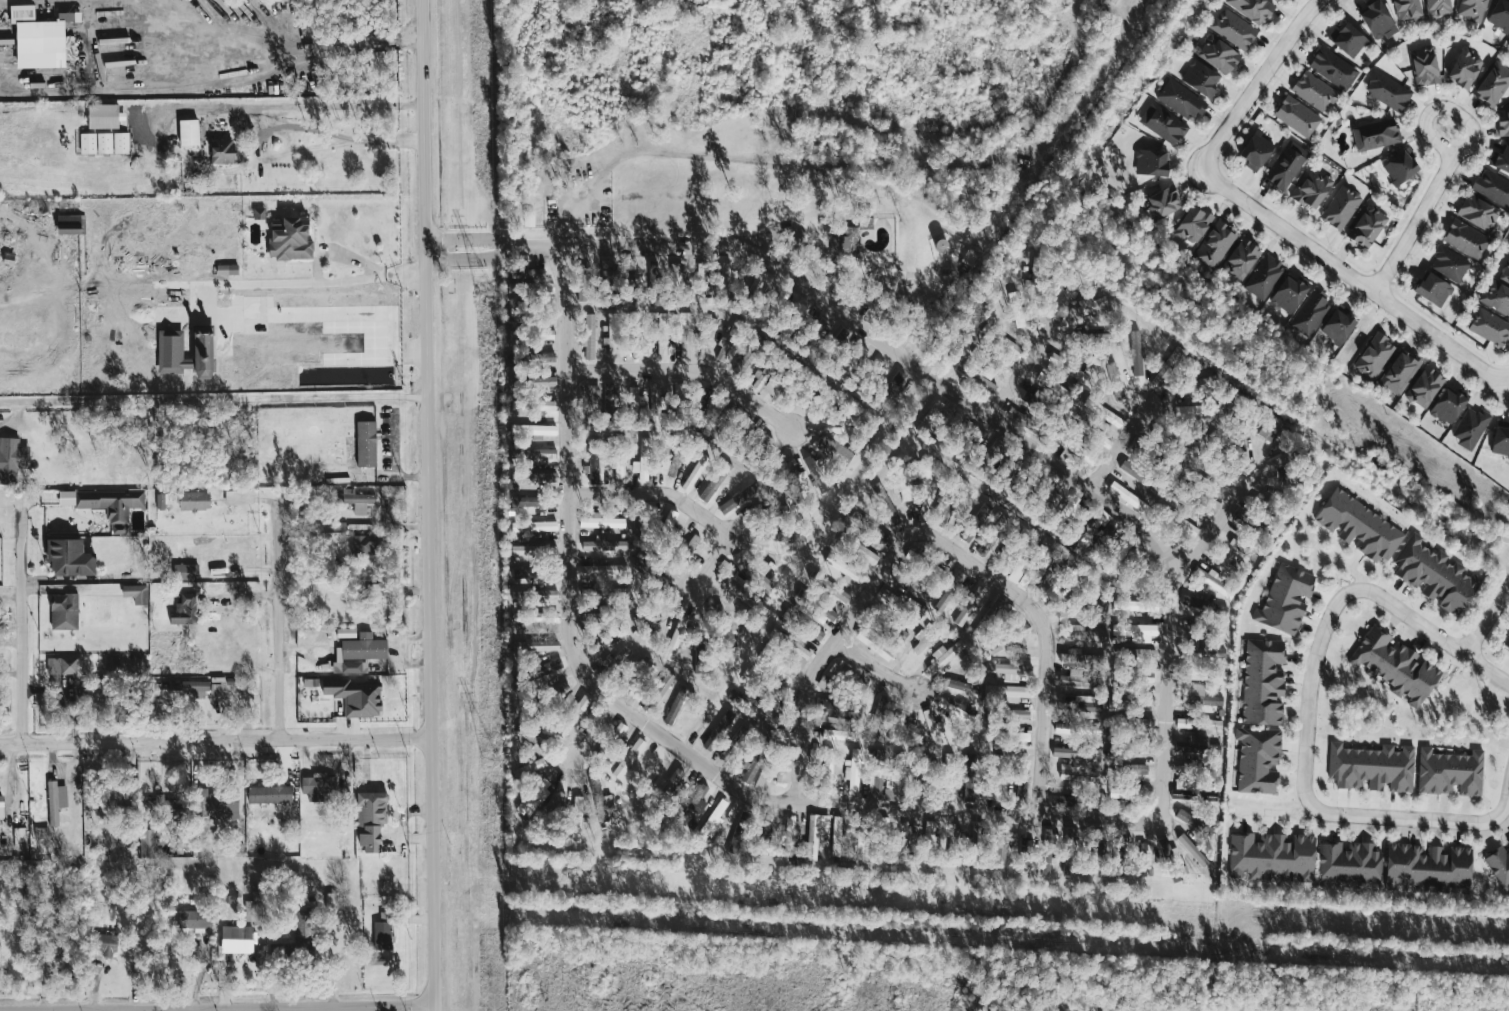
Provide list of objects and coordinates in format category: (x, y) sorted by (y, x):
building: (1276, 0)
building: (1438, 8)
building: (1253, 9)
building: (1472, 9)
building: (1407, 10)
building: (1500, 15)
building: (1377, 20)
building: (1233, 28)
building: (38, 39)
building: (1347, 39)
building: (1508, 43)
building: (1218, 54)
building: (1424, 65)
building: (1464, 67)
building: (1333, 68)
building: (1201, 78)
road: (1259, 81)
building: (1492, 84)
building: (1314, 91)
building: (1387, 91)
building: (1180, 100)
building: (103, 116)
building: (1297, 116)
building: (1163, 123)
building: (1503, 123)
road: (279, 127)
building: (189, 132)
building: (1376, 134)
building: (104, 142)
building: (1256, 150)
building: (222, 151)
road: (1452, 160)
building: (1502, 160)
building: (1151, 162)
building: (1286, 165)
building: (1401, 166)
building: (1492, 187)
building: (1312, 189)
road: (577, 202)
building: (1161, 202)
building: (1341, 207)
building: (258, 212)
building: (1478, 212)
building: (866, 223)
building: (69, 224)
building: (1193, 224)
road: (788, 226)
building: (1367, 226)
road: (469, 237)
building: (290, 239)
building: (1466, 239)
building: (846, 242)
building: (1214, 244)
building: (1508, 247)
building: (1241, 258)
road: (469, 259)
building: (1449, 263)
road: (377, 268)
building: (607, 268)
building: (227, 269)
building: (676, 270)
building: (528, 272)
building: (653, 273)
building: (1505, 273)
building: (1264, 276)
building: (725, 278)
road: (1354, 278)
road: (283, 282)
building: (630, 282)
building: (583, 284)
building: (530, 288)
building: (1433, 289)
building: (1034, 290)
power tower: (483, 291)
building: (1065, 291)
building: (1290, 292)
building: (1495, 296)
building: (775, 307)
building: (1016, 309)
building: (1310, 312)
building: (791, 324)
building: (1338, 325)
building: (821, 326)
building: (1489, 326)
building: (708, 332)
building: (547, 334)
building: (612, 335)
building: (686, 335)
building: (589, 336)
building: (728, 342)
building: (662, 344)
building: (1009, 345)
building: (171, 352)
building: (203, 352)
building: (1136, 352)
building: (1374, 356)
building: (542, 357)
building: (746, 358)
building: (1168, 366)
building: (877, 367)
road: (687, 369)
building: (1399, 372)
road: (1017, 373)
building: (759, 378)
building: (979, 379)
building: (542, 381)
building: (1115, 382)
building: (1053, 385)
building: (1425, 387)
building: (779, 394)
road: (213, 398)
building: (589, 398)
building: (635, 400)
building: (679, 400)
building: (1448, 404)
building: (538, 405)
road: (974, 405)
building: (655, 406)
building: (712, 406)
building: (947, 408)
building: (1197, 409)
building: (747, 425)
building: (1270, 427)
building: (1470, 427)
building: (534, 430)
building: (1501, 440)
building: (767, 441)
building: (1104, 441)
building: (366, 443)
building: (1075, 448)
road: (1120, 448)
building: (834, 449)
building: (533, 453)
building: (619, 456)
building: (989, 456)
building: (592, 457)
building: (12, 459)
building: (644, 463)
building: (674, 464)
building: (1013, 468)
building: (1133, 470)
building: (695, 472)
building: (816, 472)
building: (534, 477)
building: (901, 478)
building: (926, 478)
building: (715, 482)
building: (1203, 482)
building: (881, 496)
building: (232, 497)
building: (739, 497)
building: (163, 500)
building: (194, 500)
building: (357, 501)
building: (527, 501)
road: (685, 503)
building: (107, 504)
road: (428, 505)
building: (774, 511)
building: (601, 521)
building: (977, 521)
building: (1099, 522)
building: (1186, 525)
building: (534, 526)
road: (1214, 526)
building: (1359, 526)
building: (638, 531)
building: (664, 531)
building: (874, 532)
building: (693, 541)
building: (604, 544)
building: (364, 545)
building: (534, 550)
building: (1121, 553)
building: (69, 557)
building: (924, 562)
road: (1340, 562)
building: (844, 568)
building: (604, 569)
building: (756, 570)
building: (186, 571)
building: (1021, 572)
building: (527, 574)
building: (1435, 575)
building: (1209, 578)
building: (737, 585)
building: (831, 588)
building: (917, 588)
building: (619, 591)
building: (949, 591)
building: (136, 593)
building: (520, 595)
building: (544, 596)
building: (891, 598)
building: (1286, 599)
building: (376, 603)
building: (1135, 604)
building: (970, 605)
building: (1078, 607)
building: (1211, 607)
building: (819, 608)
building: (913, 608)
building: (185, 609)
road: (278, 610)
building: (64, 611)
road: (22, 613)
building: (592, 617)
building: (537, 619)
road: (1486, 620)
building: (723, 623)
building: (803, 623)
building: (1211, 626)
building: (892, 627)
building: (1136, 631)
building: (346, 632)
building: (1083, 634)
road: (1436, 634)
road: (1045, 637)
building: (676, 638)
building: (923, 639)
building: (1008, 639)
building: (790, 643)
building: (874, 644)
building: (1506, 644)
building: (535, 645)
building: (359, 652)
building: (1213, 652)
road: (826, 653)
building: (1142, 653)
building: (945, 656)
building: (614, 661)
building: (780, 664)
building: (61, 665)
building: (551, 665)
building: (1396, 665)
road: (874, 666)
building: (840, 668)
building: (1010, 670)
building: (1083, 670)
building: (1138, 674)
building: (1263, 681)
building: (825, 682)
building: (858, 683)
building: (664, 684)
road: (1311, 684)
building: (188, 685)
building: (959, 685)
building: (625, 688)
building: (216, 689)
building: (553, 694)
building: (1203, 695)
building: (356, 696)
building: (1129, 699)
building: (1084, 703)
building: (675, 706)
building: (840, 709)
building: (1018, 714)
building: (573, 716)
building: (877, 718)
building: (1129, 722)
building: (1185, 723)
building: (934, 728)
building: (1077, 728)
building: (619, 730)
building: (718, 730)
road: (595, 731)
road: (656, 731)
building: (834, 733)
road: (215, 738)
building: (1074, 751)
building: (629, 758)
building: (1258, 759)
power tower: (491, 760)
building: (828, 762)
building: (530, 767)
building: (1372, 767)
building: (764, 770)
building: (900, 770)
building: (1133, 770)
building: (853, 771)
building: (1450, 772)
building: (877, 773)
building: (1076, 774)
building: (924, 775)
building: (671, 783)
building: (948, 783)
building: (969, 785)
building: (318, 786)
building: (990, 790)
building: (1125, 791)
building: (270, 794)
building: (533, 796)
building: (698, 799)
building: (1071, 800)
building: (56, 801)
building: (601, 802)
building: (215, 803)
building: (554, 803)
building: (163, 804)
road: (1505, 805)
building: (1, 806)
road: (1277, 812)
road: (1402, 816)
building: (371, 819)
building: (577, 819)
building: (714, 819)
building: (1194, 822)
building: (930, 827)
building: (816, 833)
building: (739, 834)
building: (42, 835)
building: (977, 835)
building: (766, 836)
building: (836, 836)
building: (20, 837)
building: (789, 837)
building: (147, 843)
building: (1192, 850)
building: (1143, 851)
building: (1000, 853)
building: (1168, 853)
building: (1273, 855)
building: (1349, 862)
building: (1499, 864)
building: (1428, 867)
building: (331, 900)
building: (385, 902)
building: (254, 908)
building: (385, 916)
building: (190, 918)
building: (303, 924)
building: (382, 934)
building: (237, 940)
building: (103, 942)
road: (263, 1008)

